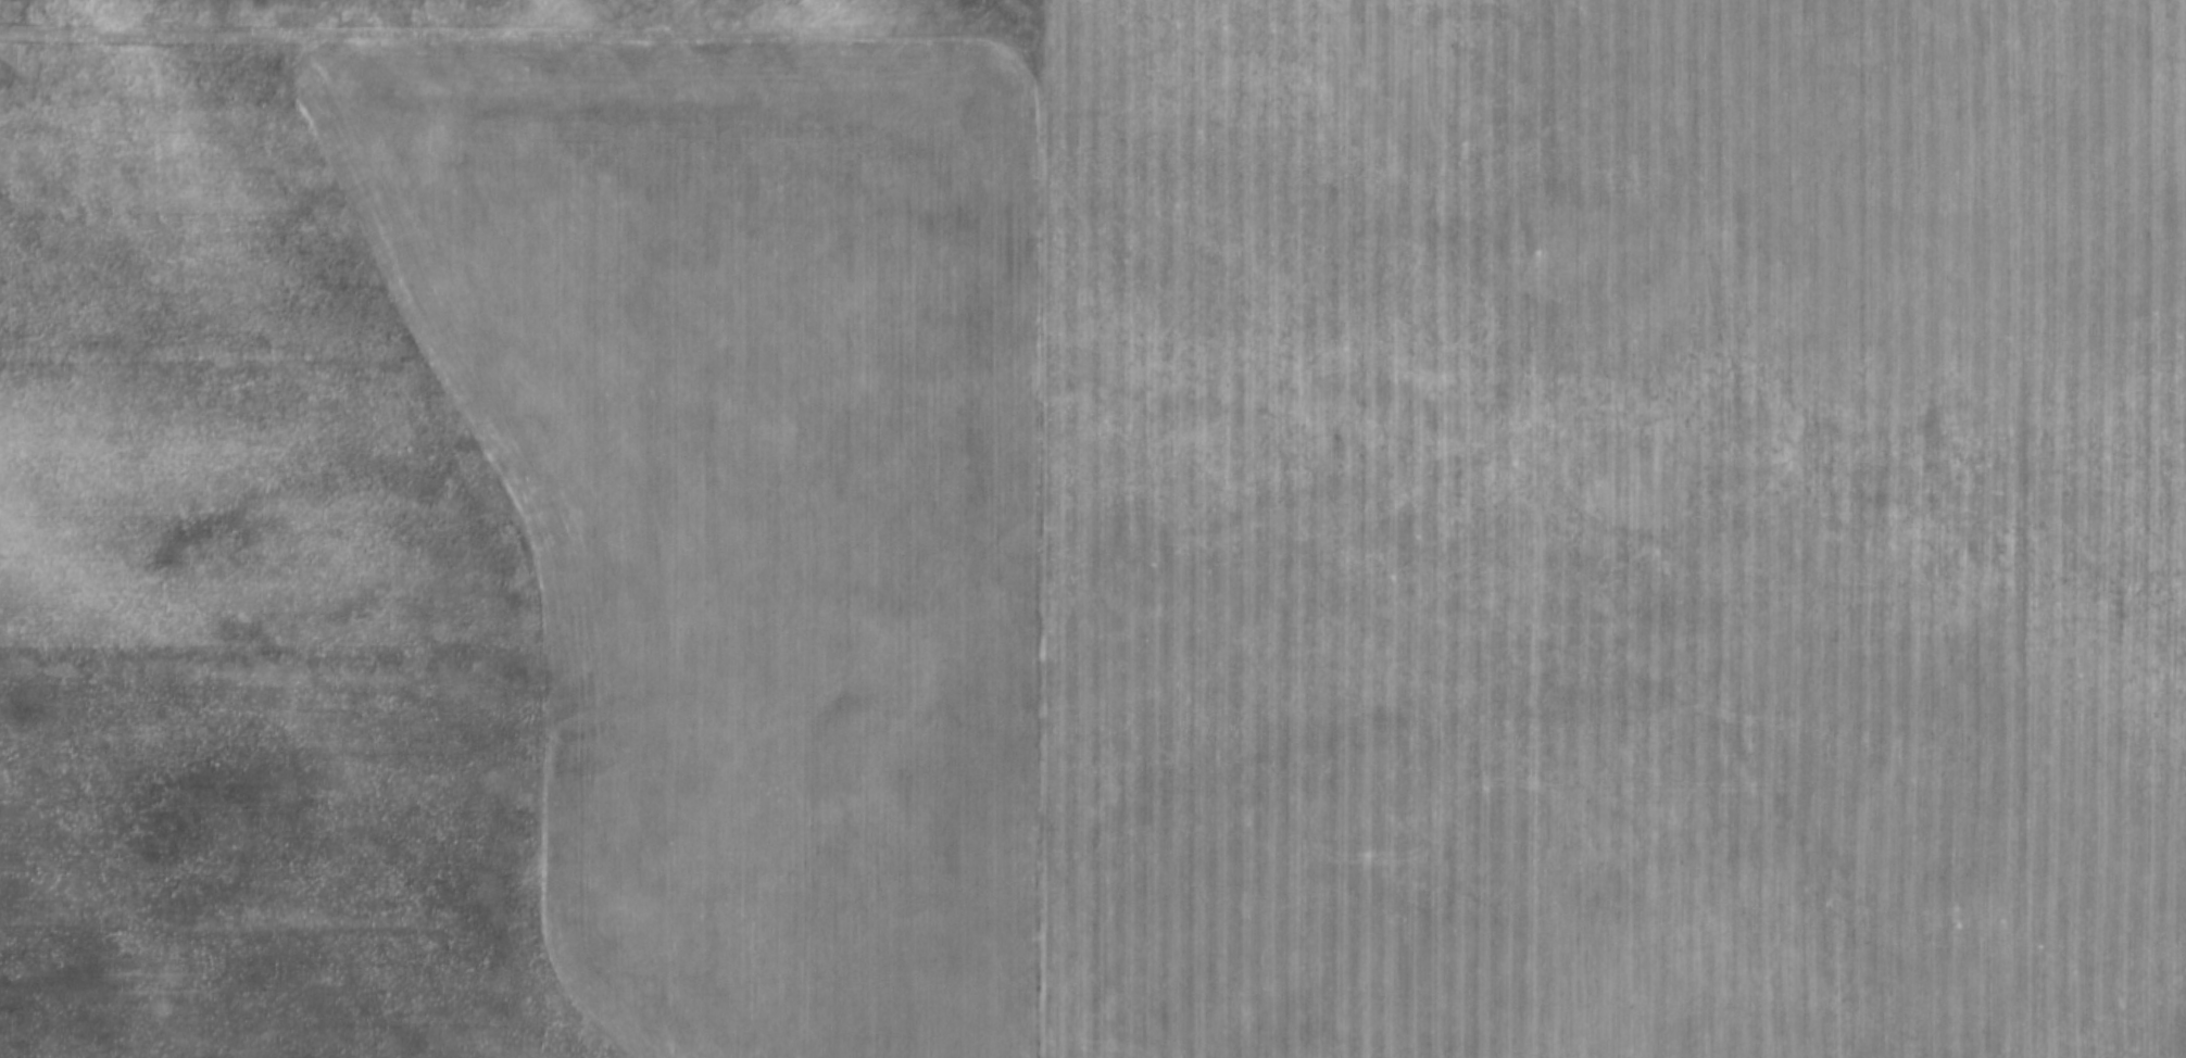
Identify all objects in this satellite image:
road: (516, 35)
road: (1571, 561)

